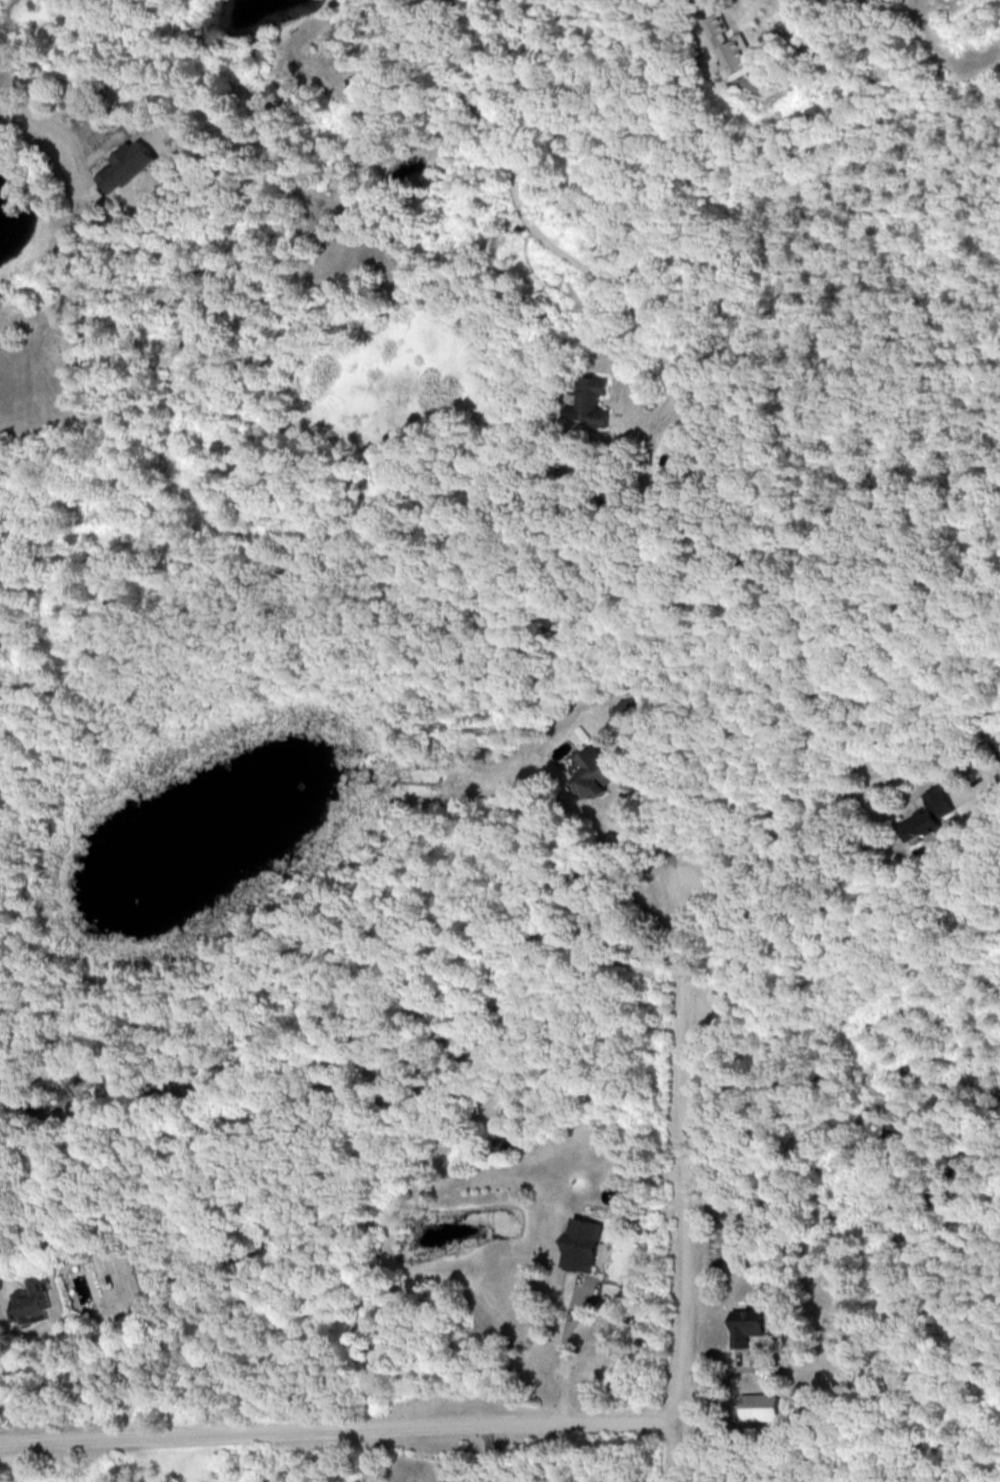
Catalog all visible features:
building: (732, 48)
building: (126, 165)
road: (542, 239)
building: (591, 401)
building: (591, 773)
building: (930, 814)
road: (679, 1175)
building: (580, 1244)
building: (31, 1302)
building: (745, 1325)
road: (561, 1350)
building: (758, 1406)
road: (489, 1418)
road: (153, 1428)
road: (370, 1452)
road: (486, 1452)

